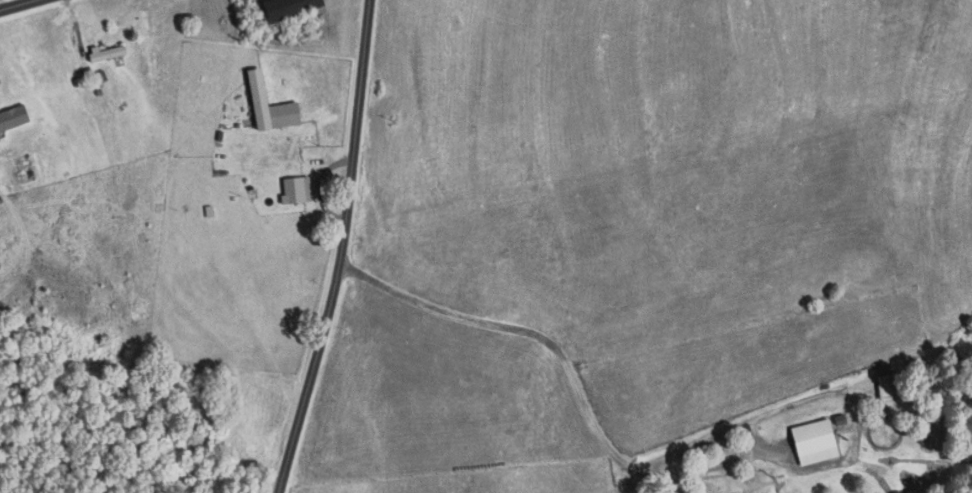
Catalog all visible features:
road: (27, 7)
building: (291, 8)
building: (108, 54)
building: (271, 106)
building: (14, 119)
building: (294, 190)
road: (342, 249)
road: (576, 367)
building: (889, 389)
building: (816, 442)

